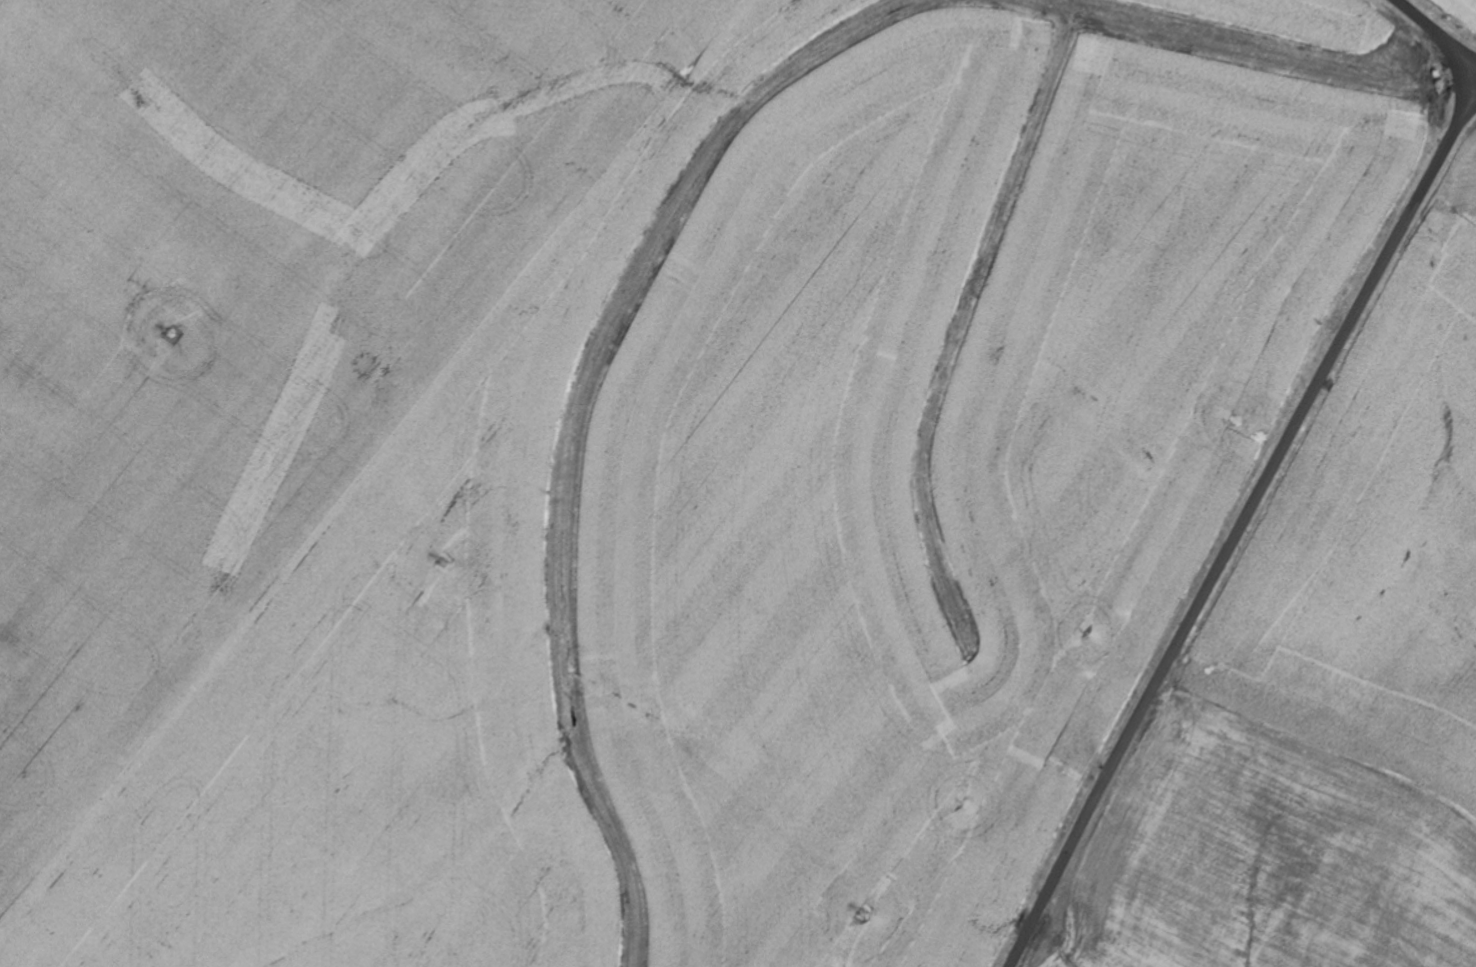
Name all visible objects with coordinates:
road: (1446, 39)
road: (1446, 48)
road: (1236, 533)

